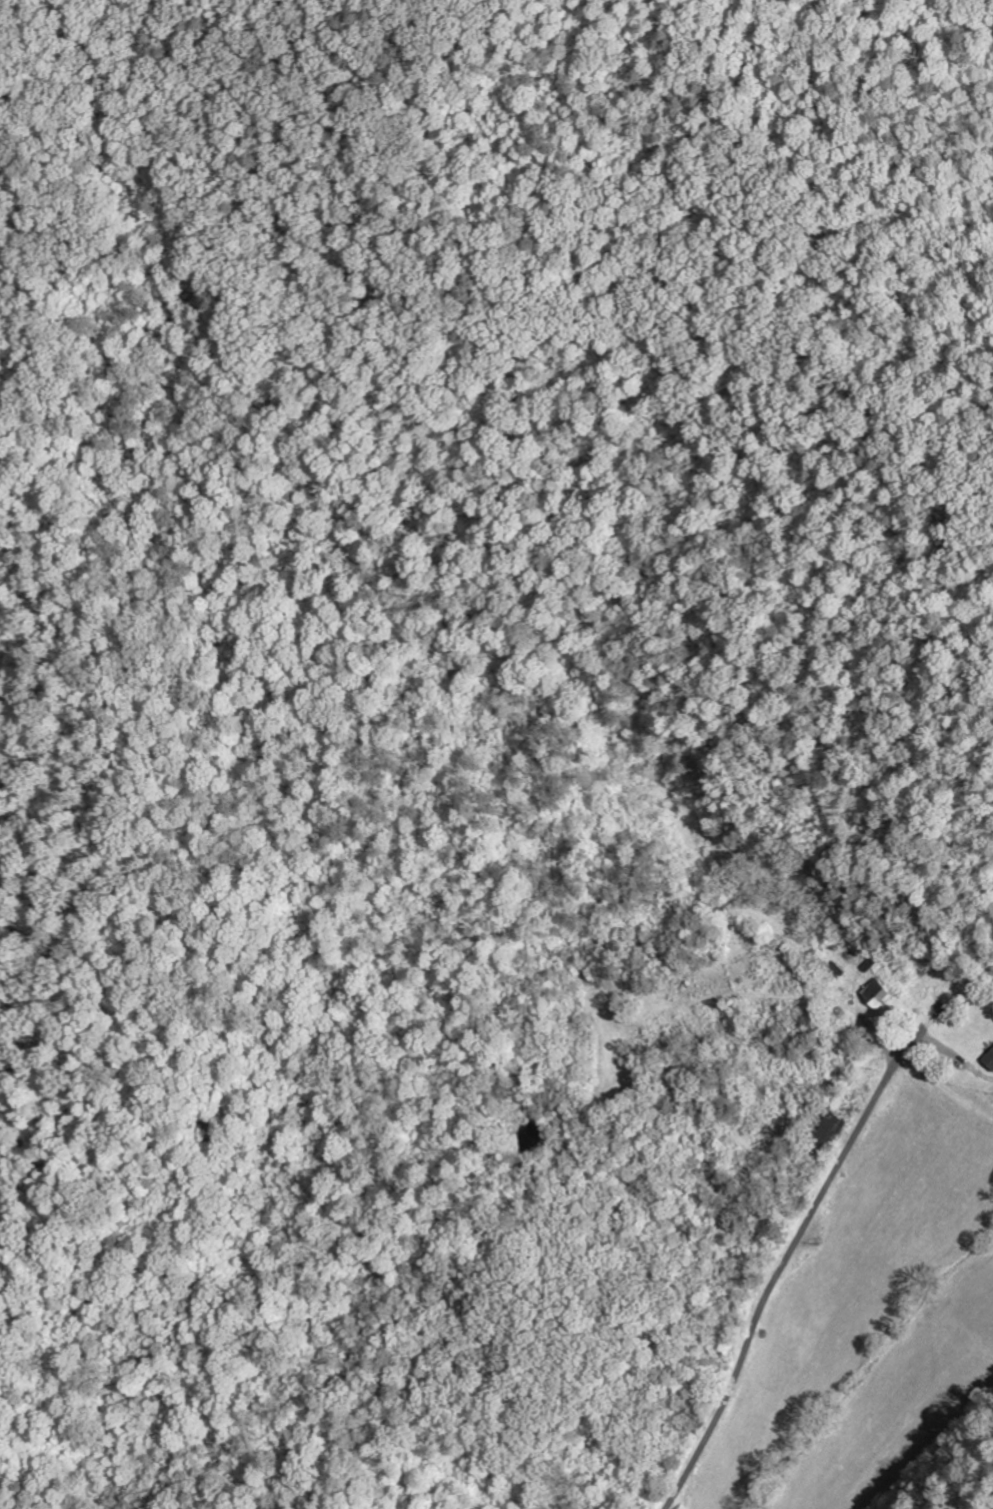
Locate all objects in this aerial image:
building: (989, 1061)
road: (768, 1291)

